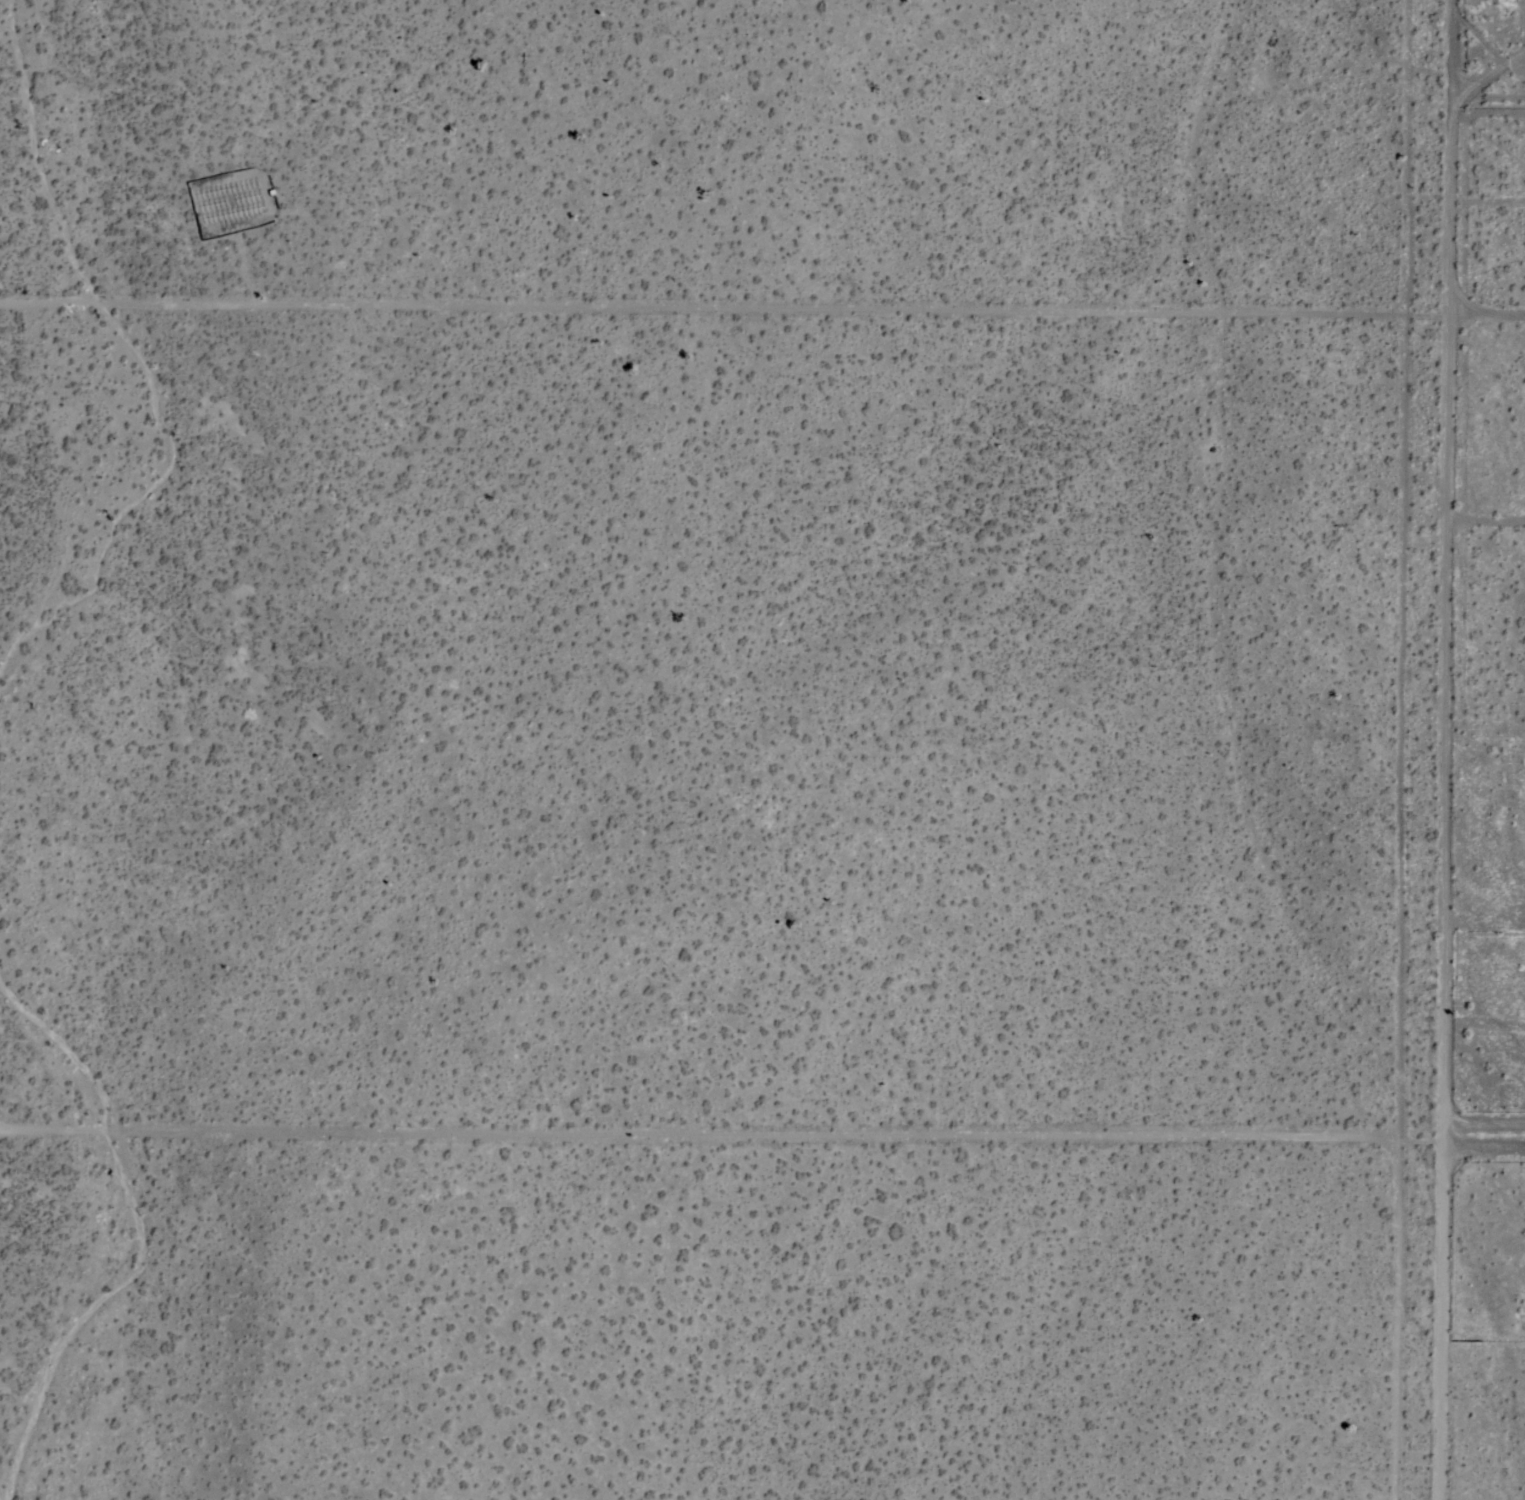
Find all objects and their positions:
road: (1480, 35)
road: (1516, 56)
road: (1516, 70)
road: (1477, 85)
road: (1485, 518)
road: (1442, 749)
road: (762, 1139)

